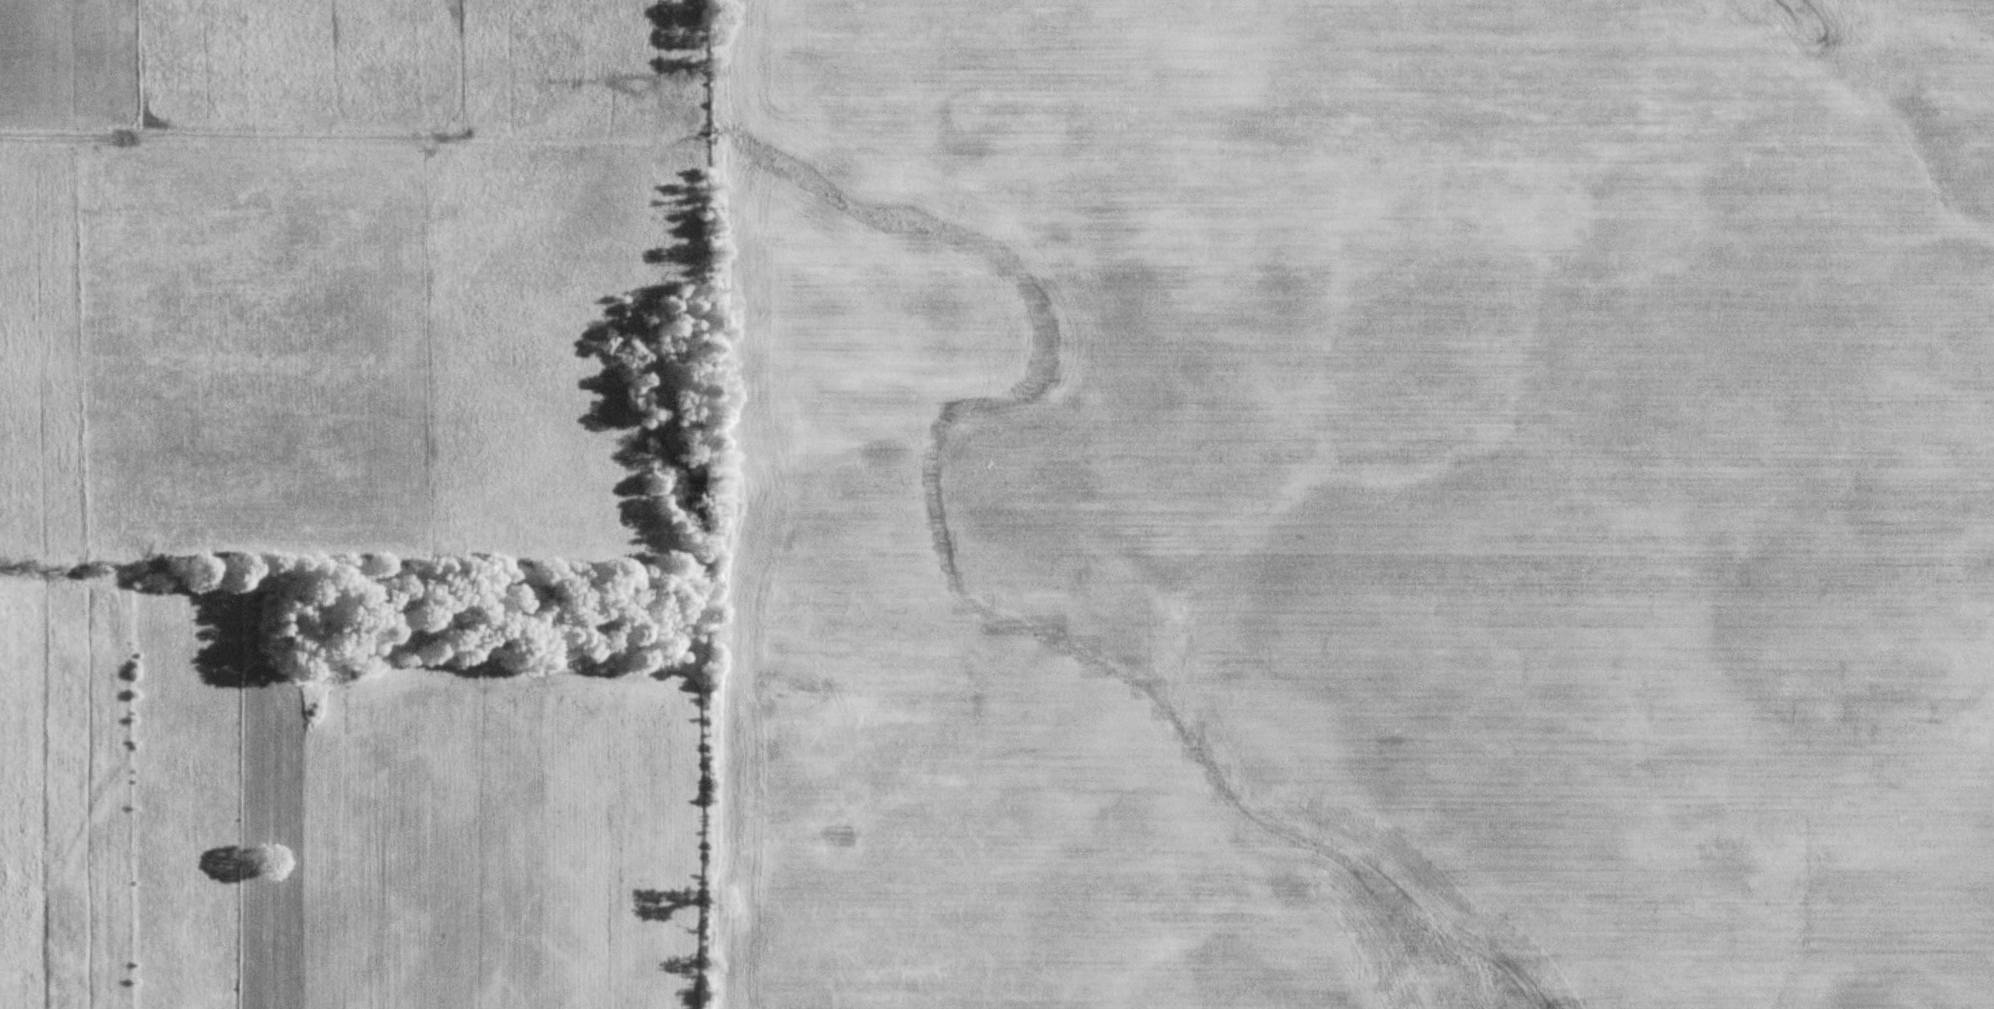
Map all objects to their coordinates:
crop: (1354, 505)

